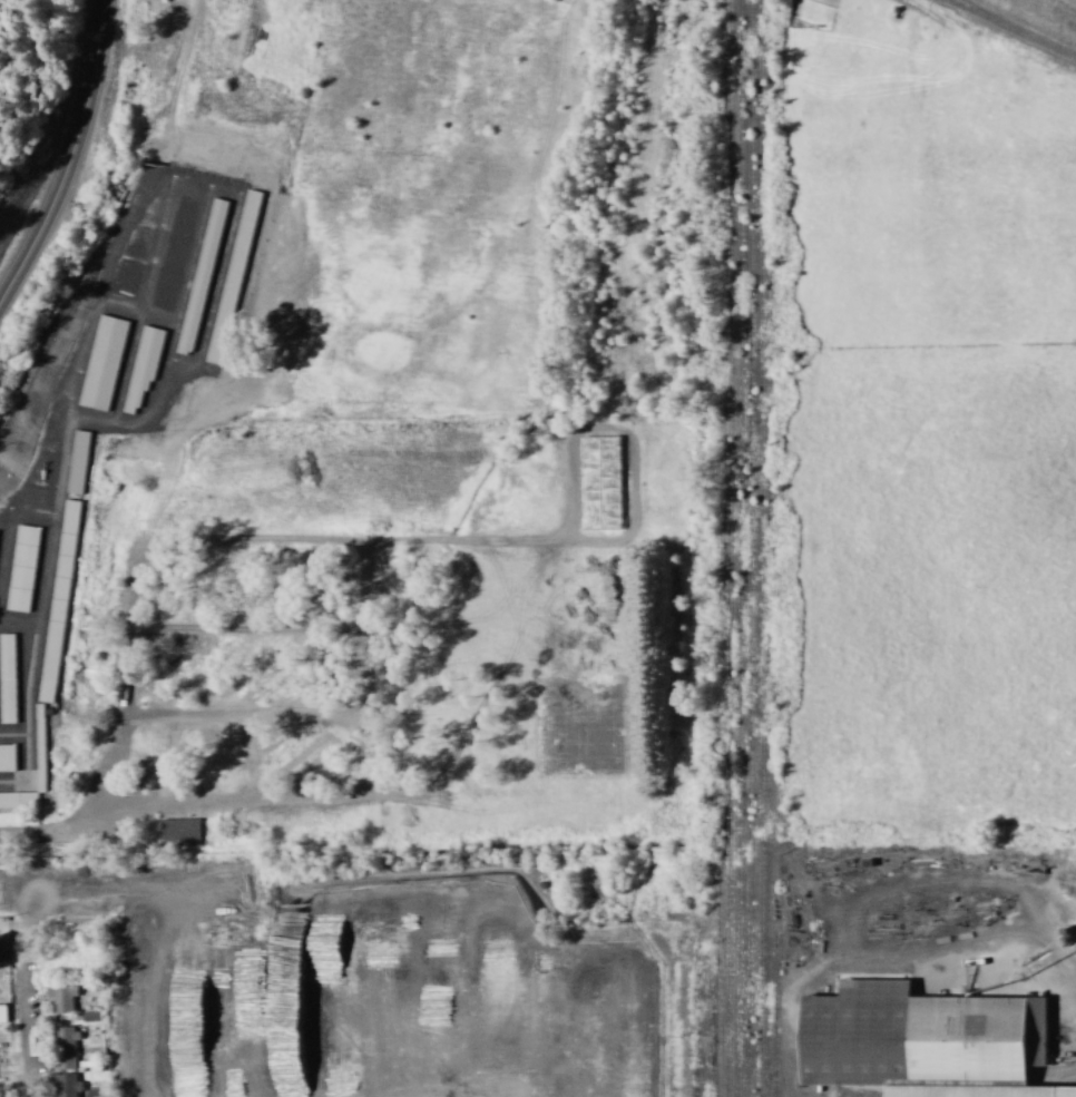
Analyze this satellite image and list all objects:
road: (75, 159)
building: (607, 484)
road: (520, 541)
railway: (727, 548)
railway: (737, 548)
railway: (747, 548)
railway: (760, 548)
building: (22, 568)
building: (58, 601)
road: (247, 630)
building: (7, 679)
road: (243, 715)
park: (587, 729)
road: (125, 734)
building: (39, 743)
building: (7, 757)
road: (350, 793)
building: (18, 800)
building: (178, 831)
railway: (715, 981)
building: (62, 998)
building: (2, 1013)
building: (90, 1017)
building: (914, 1037)
road: (29, 1045)
building: (63, 1047)
building: (66, 1085)
building: (976, 1091)

